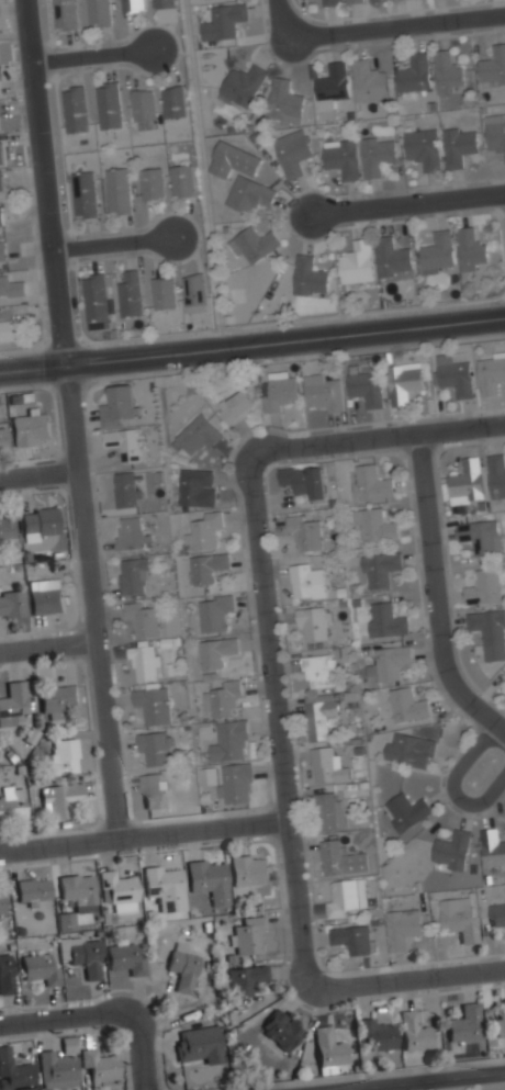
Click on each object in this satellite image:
building: (353, 1)
building: (329, 2)
building: (161, 3)
building: (131, 5)
building: (98, 12)
building: (64, 14)
road: (284, 20)
building: (222, 22)
road: (396, 27)
road: (92, 56)
building: (493, 65)
building: (414, 74)
building: (448, 74)
building: (1, 75)
building: (368, 82)
building: (0, 87)
building: (242, 87)
building: (332, 87)
building: (173, 101)
building: (284, 102)
building: (108, 104)
building: (143, 104)
building: (74, 109)
building: (495, 133)
building: (458, 147)
building: (423, 149)
building: (292, 151)
building: (0, 154)
building: (377, 156)
building: (233, 158)
building: (341, 159)
building: (182, 179)
building: (1, 181)
road: (50, 181)
building: (151, 184)
building: (117, 191)
building: (249, 193)
building: (83, 194)
road: (406, 205)
building: (1, 215)
road: (116, 241)
building: (254, 243)
building: (2, 250)
building: (471, 250)
building: (438, 251)
building: (392, 260)
building: (356, 263)
building: (308, 277)
building: (10, 285)
building: (194, 291)
building: (130, 294)
building: (162, 294)
building: (94, 301)
building: (9, 329)
road: (252, 342)
building: (491, 374)
building: (454, 375)
building: (403, 382)
building: (366, 387)
building: (280, 390)
building: (323, 392)
building: (117, 405)
building: (236, 405)
building: (31, 428)
building: (197, 435)
road: (379, 436)
building: (2, 438)
building: (123, 442)
road: (41, 474)
building: (496, 475)
building: (305, 480)
building: (370, 483)
building: (467, 483)
building: (195, 486)
building: (126, 488)
building: (41, 521)
building: (5, 524)
building: (373, 526)
building: (204, 529)
building: (304, 531)
building: (130, 535)
building: (480, 536)
building: (206, 566)
building: (379, 570)
building: (133, 575)
building: (306, 581)
building: (483, 587)
road: (437, 589)
building: (44, 595)
road: (94, 602)
building: (11, 603)
building: (212, 611)
building: (142, 618)
building: (384, 620)
building: (313, 621)
building: (490, 632)
road: (49, 649)
building: (216, 651)
building: (142, 661)
building: (389, 662)
building: (317, 670)
building: (58, 698)
building: (223, 698)
building: (12, 703)
building: (153, 705)
building: (407, 705)
building: (319, 718)
road: (277, 723)
building: (232, 738)
building: (154, 746)
building: (409, 749)
building: (63, 755)
road: (487, 760)
building: (326, 765)
building: (235, 783)
building: (151, 790)
building: (58, 798)
building: (11, 800)
building: (329, 811)
building: (405, 811)
road: (143, 838)
building: (492, 850)
building: (452, 851)
building: (341, 857)
building: (249, 870)
building: (207, 879)
building: (164, 885)
building: (77, 889)
building: (32, 890)
building: (119, 890)
building: (344, 898)
building: (1, 901)
building: (496, 914)
building: (458, 919)
building: (65, 920)
building: (402, 928)
building: (247, 935)
building: (351, 940)
building: (85, 956)
building: (124, 958)
building: (182, 968)
building: (38, 969)
building: (5, 974)
road: (411, 977)
building: (245, 979)
road: (105, 1013)
building: (464, 1024)
building: (500, 1025)
building: (280, 1029)
building: (413, 1032)
building: (375, 1033)
building: (197, 1044)
building: (68, 1045)
building: (327, 1050)
building: (99, 1067)
building: (56, 1069)
building: (14, 1072)
road: (426, 1081)

